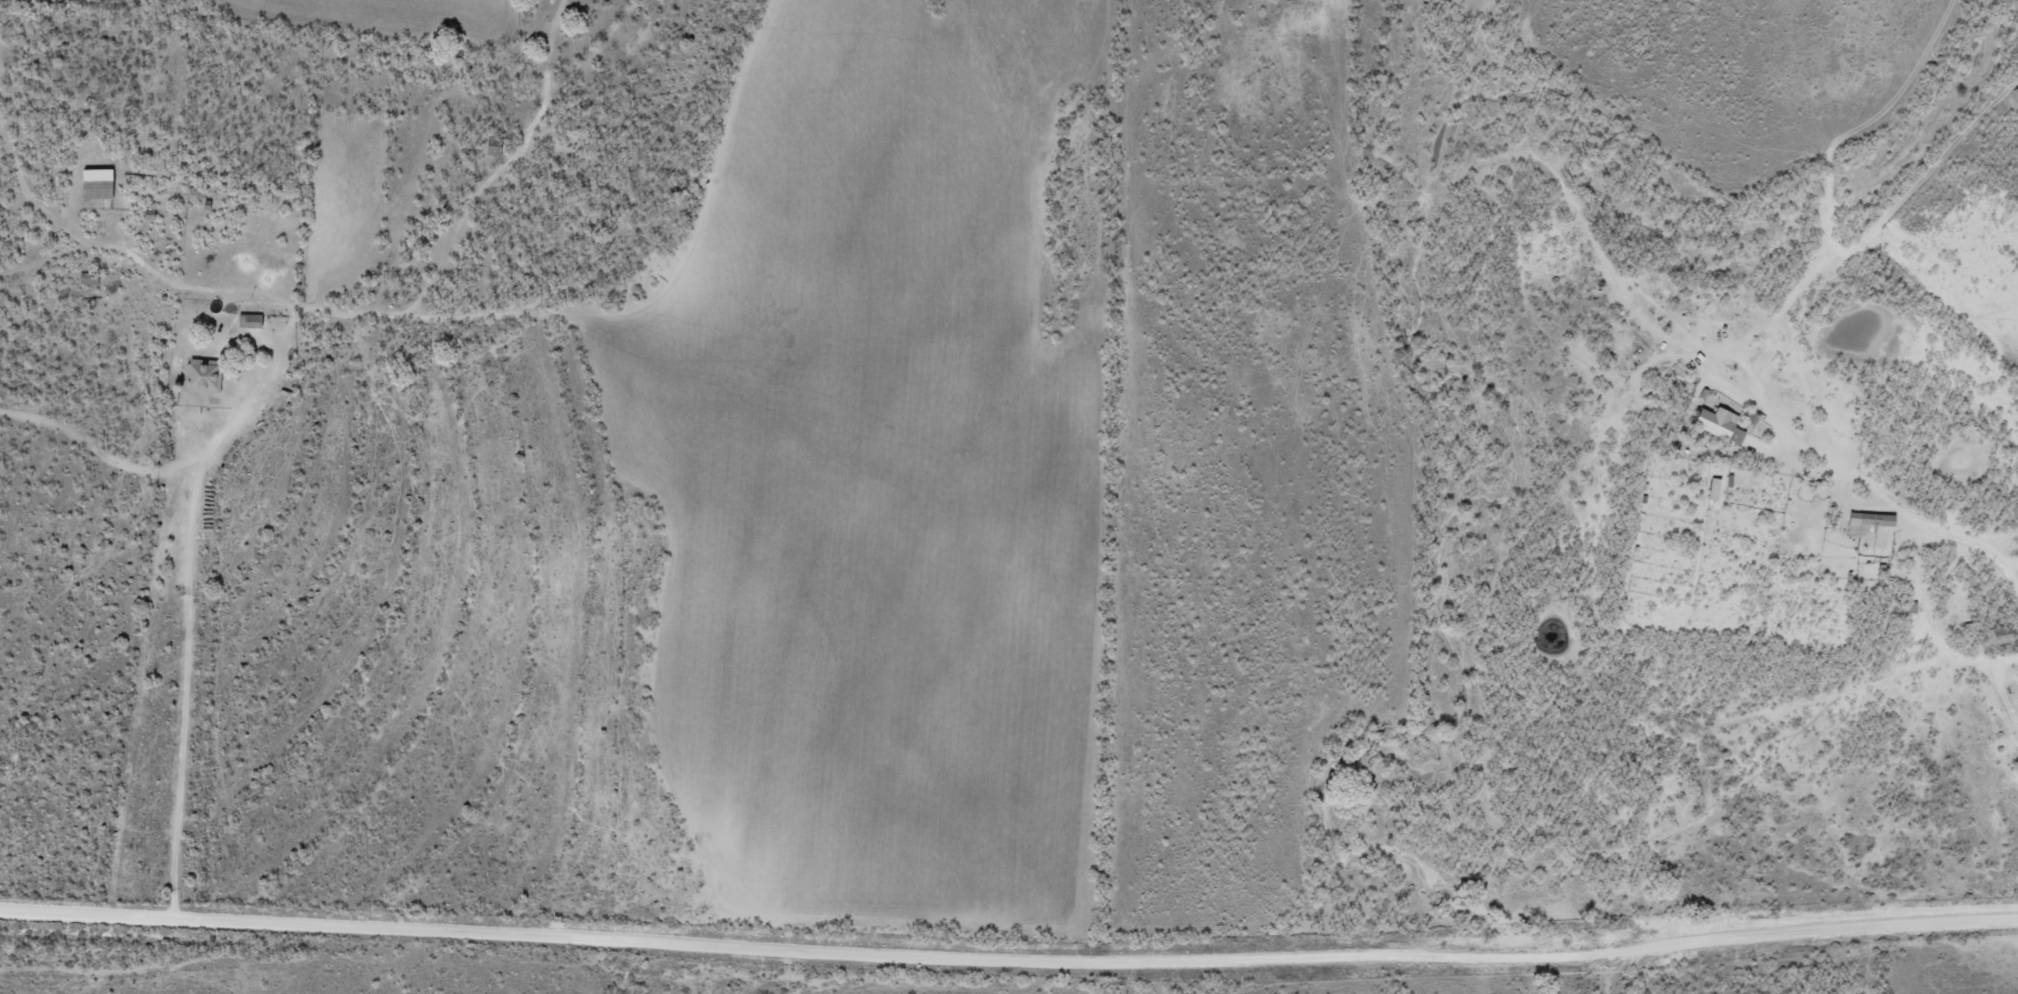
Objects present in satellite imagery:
building: (100, 183)
building: (254, 320)
building: (206, 374)
building: (1722, 423)
building: (1715, 489)
road: (1886, 505)
building: (1871, 521)
building: (2003, 633)
road: (185, 642)
road: (1009, 962)

